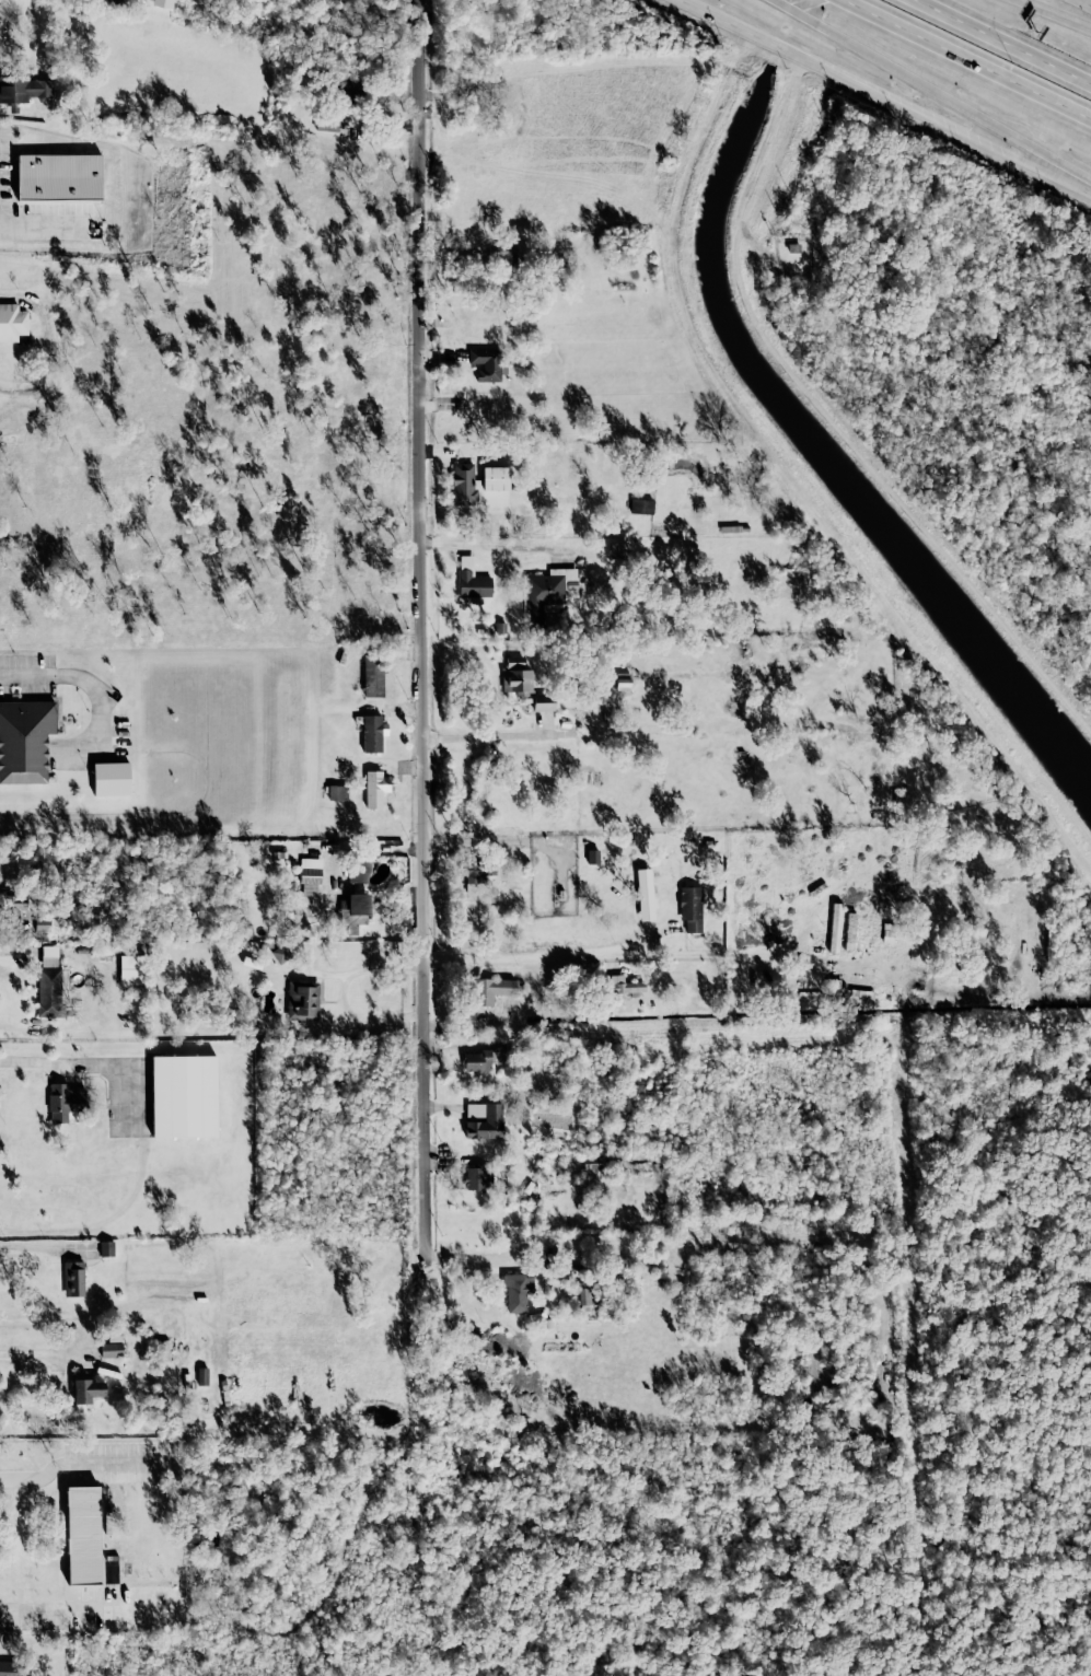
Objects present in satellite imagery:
road: (1084, 2)
building: (162, 8)
road: (1055, 13)
road: (732, 22)
road: (1006, 40)
road: (975, 55)
building: (348, 82)
road: (936, 89)
building: (23, 90)
road: (935, 119)
road: (765, 160)
building: (59, 177)
road: (37, 226)
building: (793, 247)
building: (503, 255)
building: (12, 322)
building: (485, 363)
building: (476, 481)
building: (640, 505)
road: (490, 546)
building: (618, 549)
building: (471, 579)
building: (546, 591)
road: (421, 627)
road: (77, 676)
building: (373, 676)
building: (622, 682)
building: (523, 685)
building: (372, 732)
road: (481, 736)
building: (25, 740)
building: (112, 778)
building: (375, 788)
building: (337, 792)
road: (499, 841)
building: (592, 856)
building: (310, 871)
building: (358, 871)
building: (476, 872)
building: (645, 894)
building: (358, 904)
building: (18, 906)
building: (690, 907)
building: (43, 924)
building: (835, 927)
building: (849, 931)
building: (887, 932)
road: (635, 942)
building: (279, 952)
road: (618, 955)
building: (49, 956)
building: (130, 969)
road: (361, 970)
building: (625, 985)
building: (491, 989)
building: (53, 991)
building: (303, 1000)
building: (480, 1059)
road: (65, 1061)
building: (184, 1096)
building: (65, 1101)
building: (484, 1120)
building: (474, 1178)
building: (107, 1248)
building: (73, 1278)
building: (517, 1291)
building: (585, 1295)
building: (111, 1349)
road: (39, 1353)
building: (88, 1389)
road: (91, 1460)
building: (83, 1535)
road: (24, 1548)
road: (103, 1608)
building: (14, 1668)

